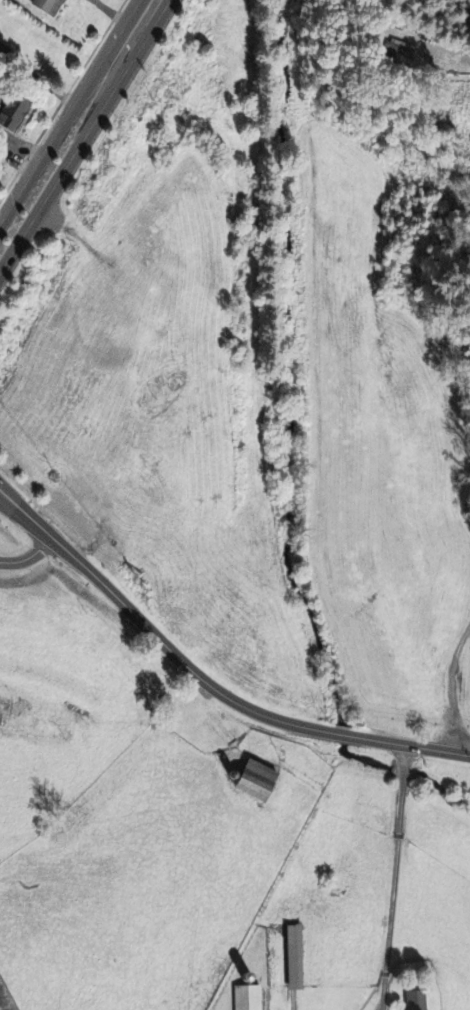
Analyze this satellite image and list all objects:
building: (47, 6)
road: (140, 19)
road: (452, 56)
building: (13, 110)
road: (62, 131)
road: (70, 158)
road: (7, 491)
road: (6, 497)
road: (6, 499)
road: (211, 684)
road: (450, 688)
building: (254, 780)
road: (416, 871)
building: (293, 957)
building: (414, 1000)

